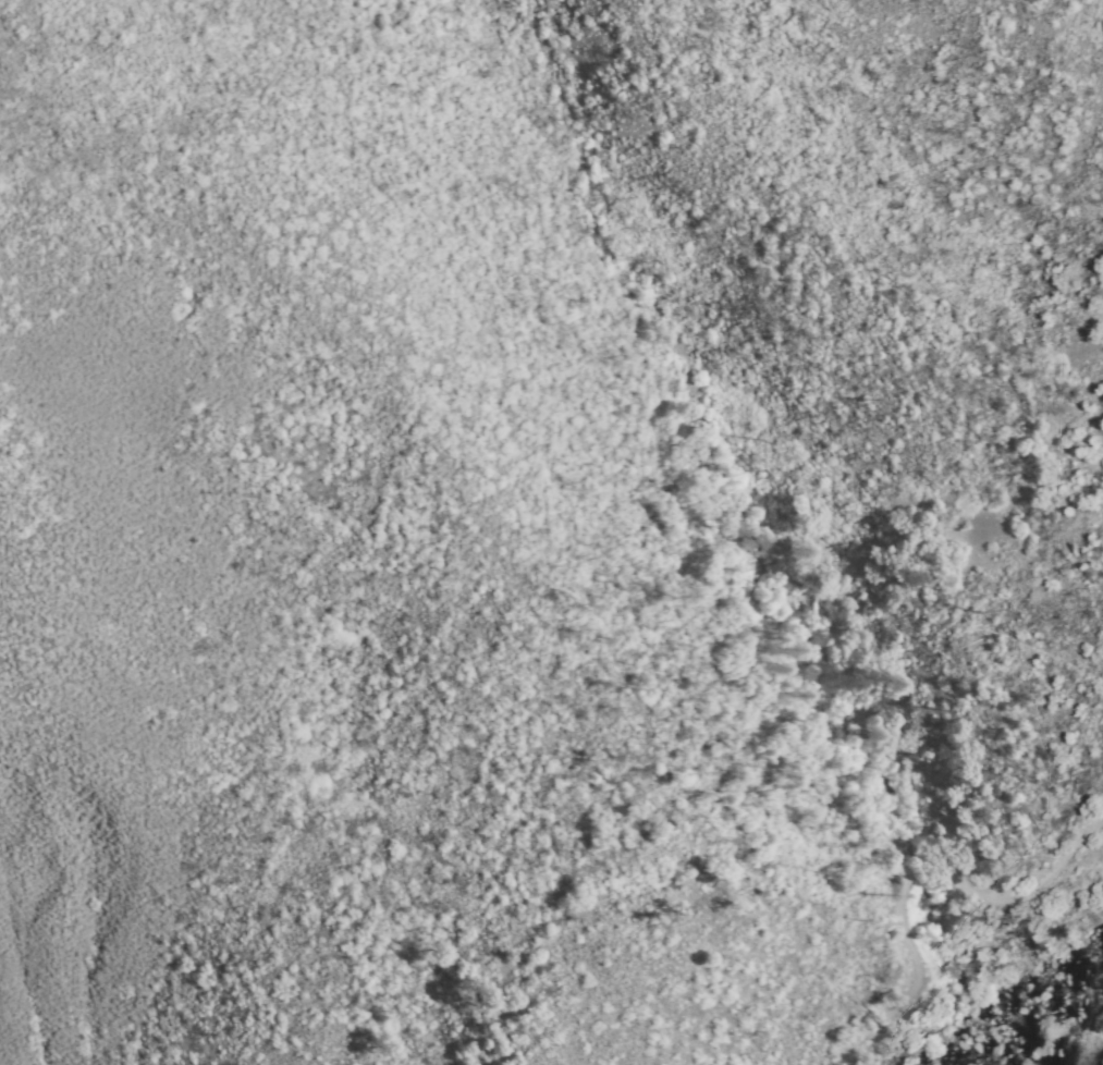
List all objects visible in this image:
road: (932, 909)
river: (1079, 1036)

